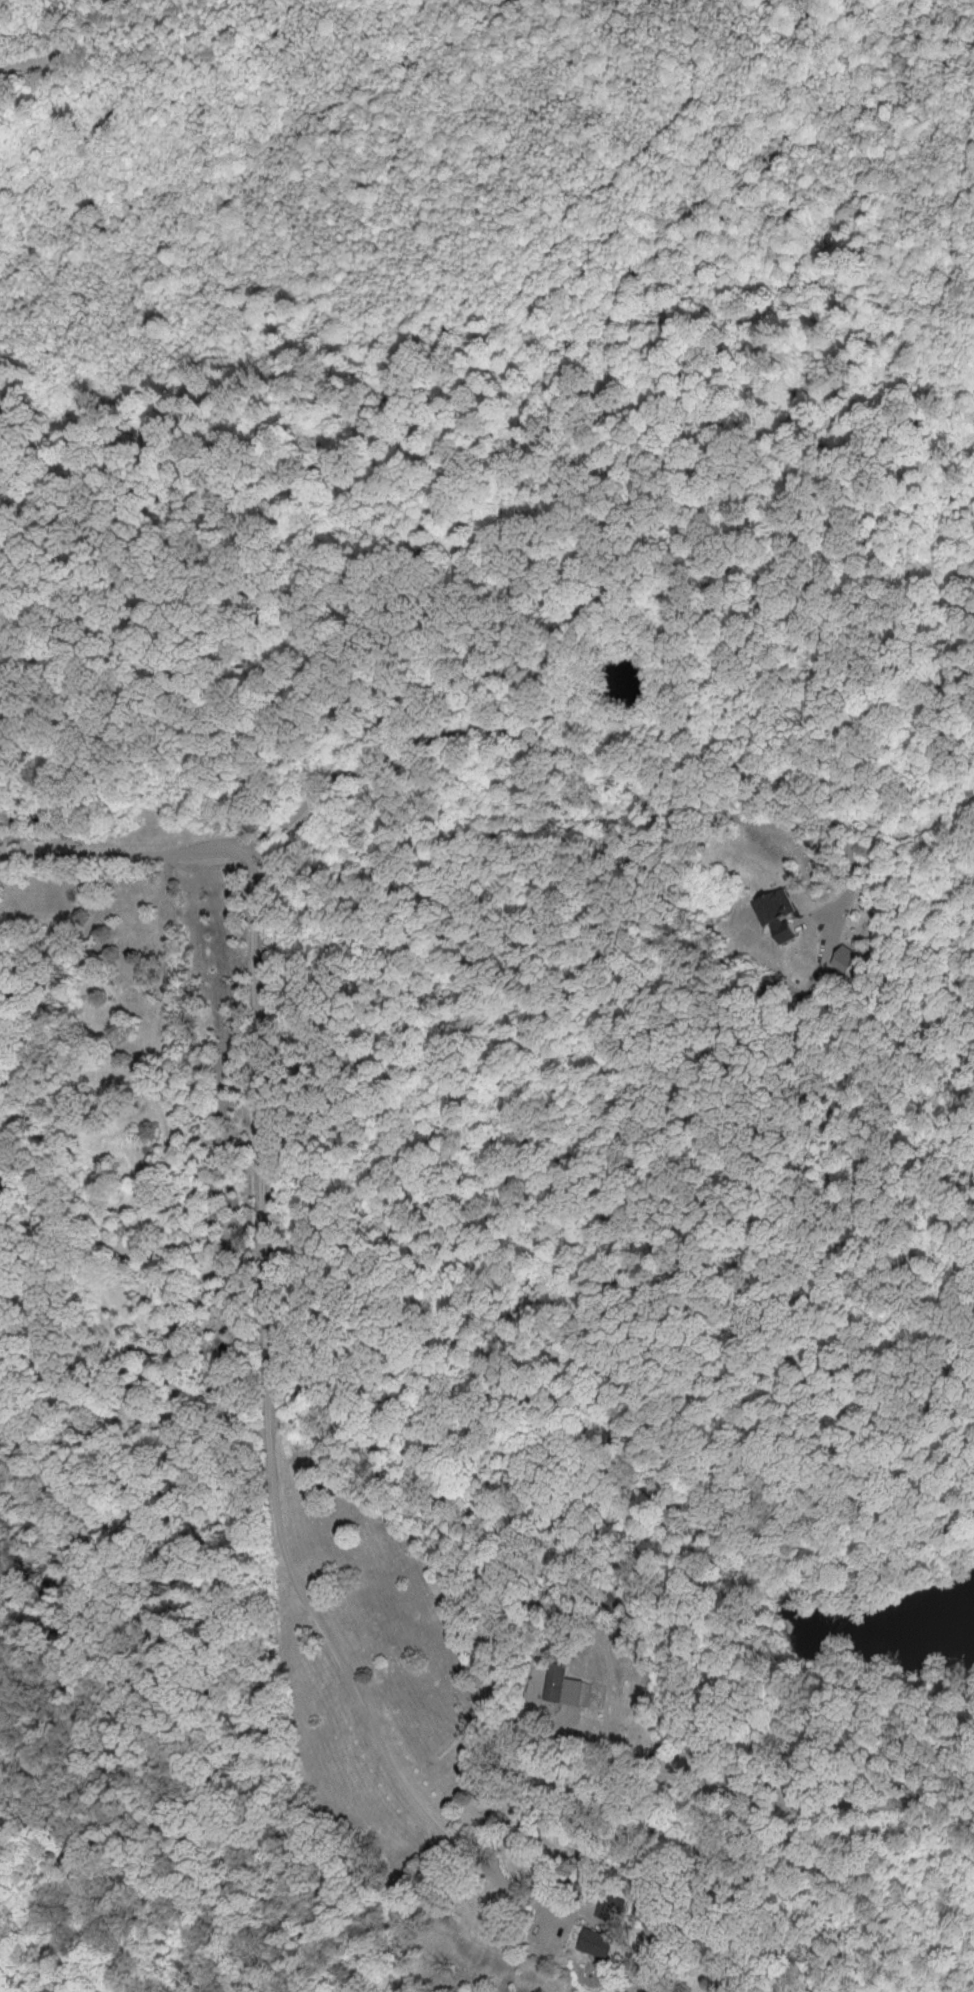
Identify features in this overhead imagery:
road: (576, 756)
building: (773, 912)
building: (842, 957)
road: (269, 1292)
building: (561, 1685)
road: (484, 1764)
building: (593, 1942)

